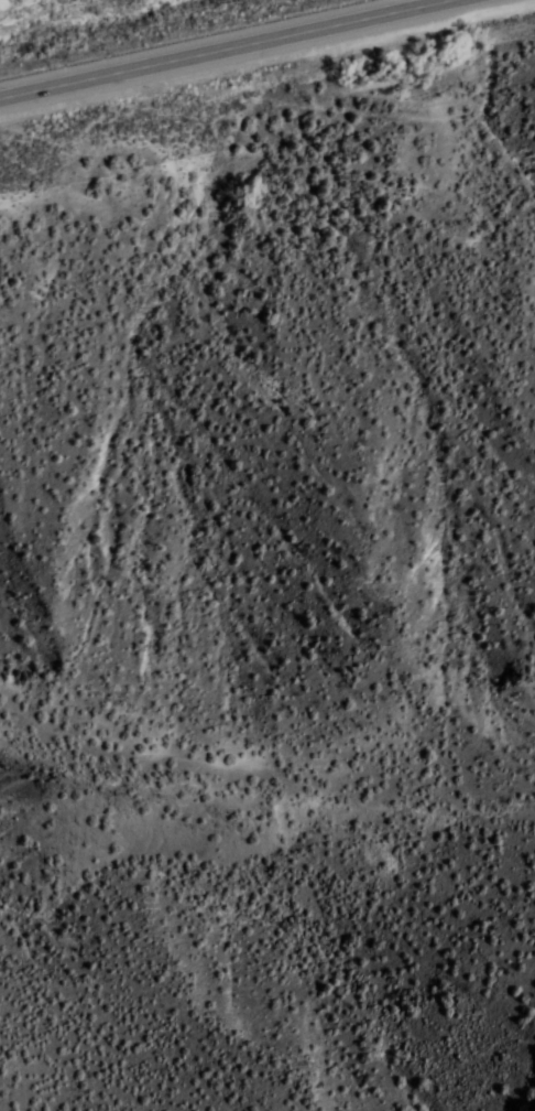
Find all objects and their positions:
road: (225, 48)

